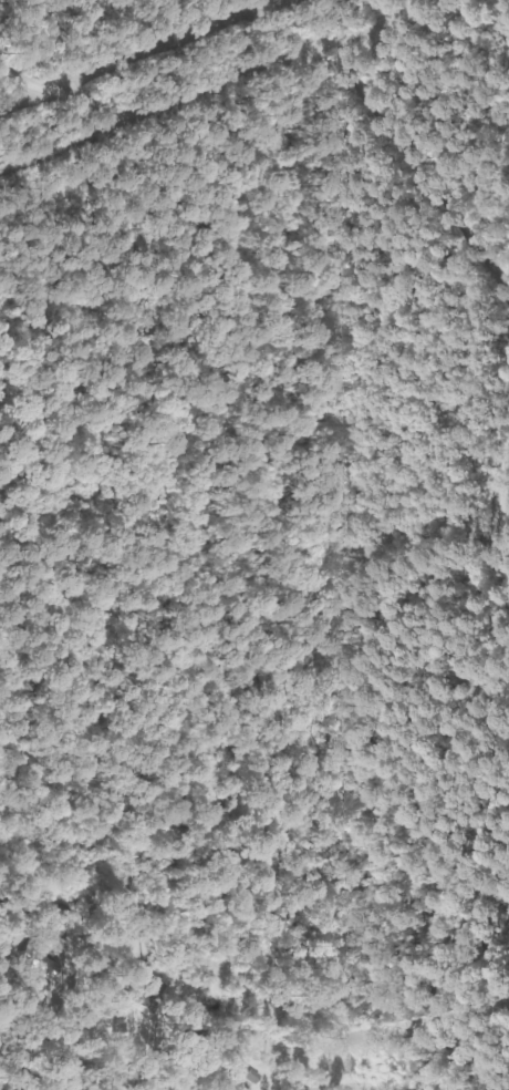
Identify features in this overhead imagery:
road: (142, 130)
road: (406, 199)
road: (479, 589)
building: (148, 991)
road: (22, 1067)

